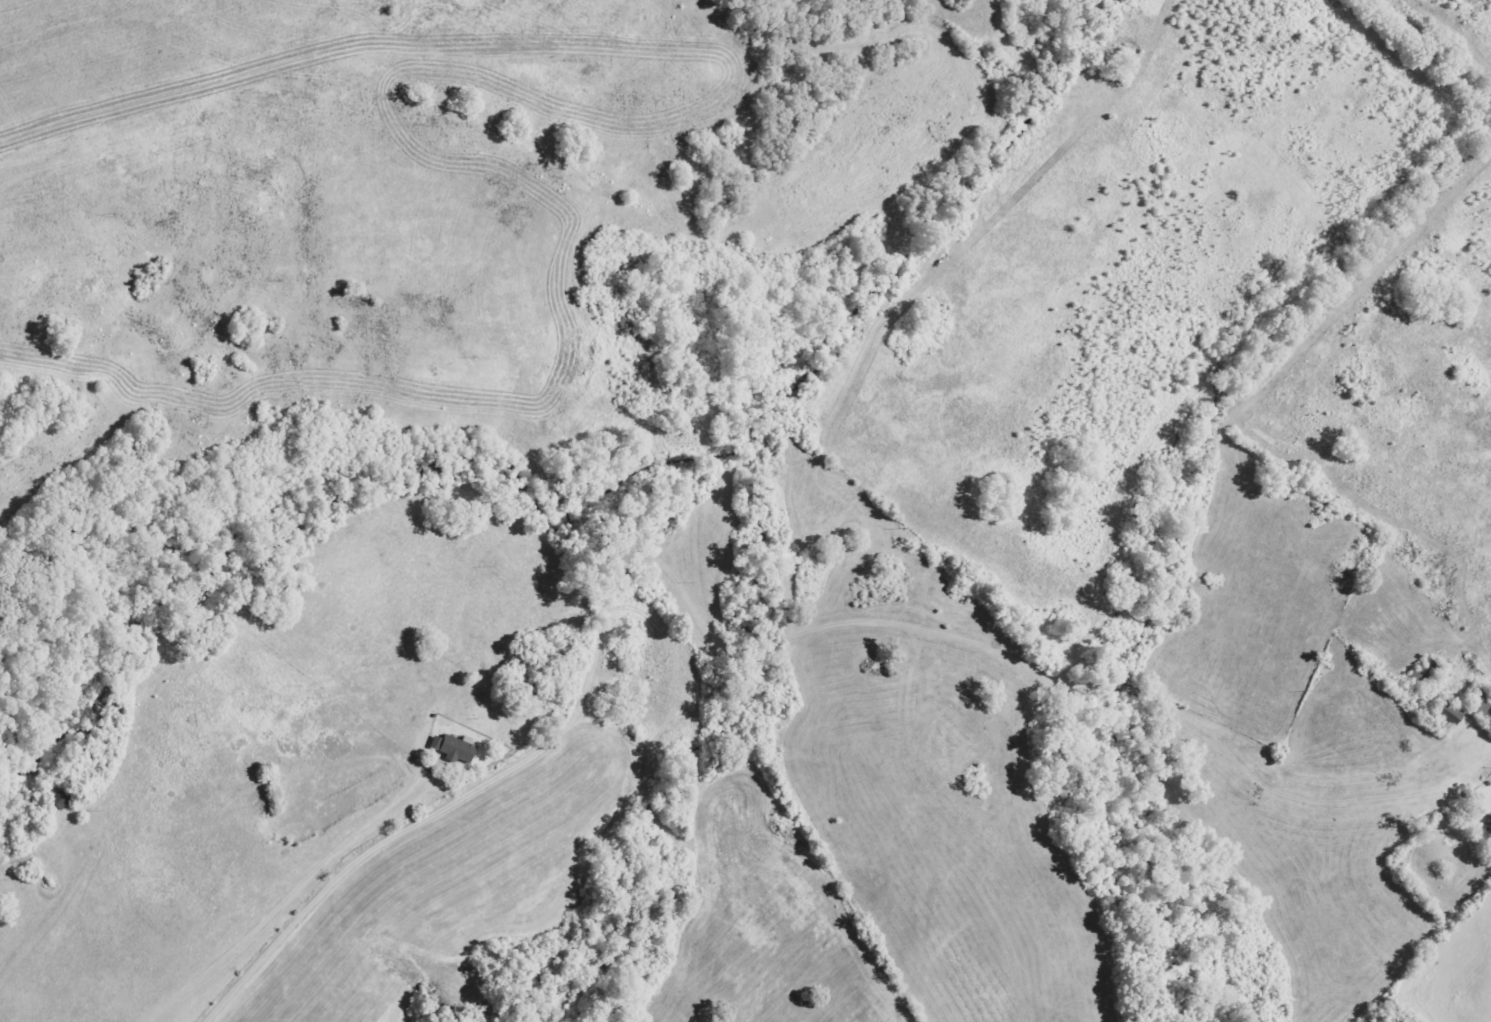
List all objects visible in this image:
road: (741, 645)
building: (452, 748)
building: (1487, 830)
road: (268, 911)

